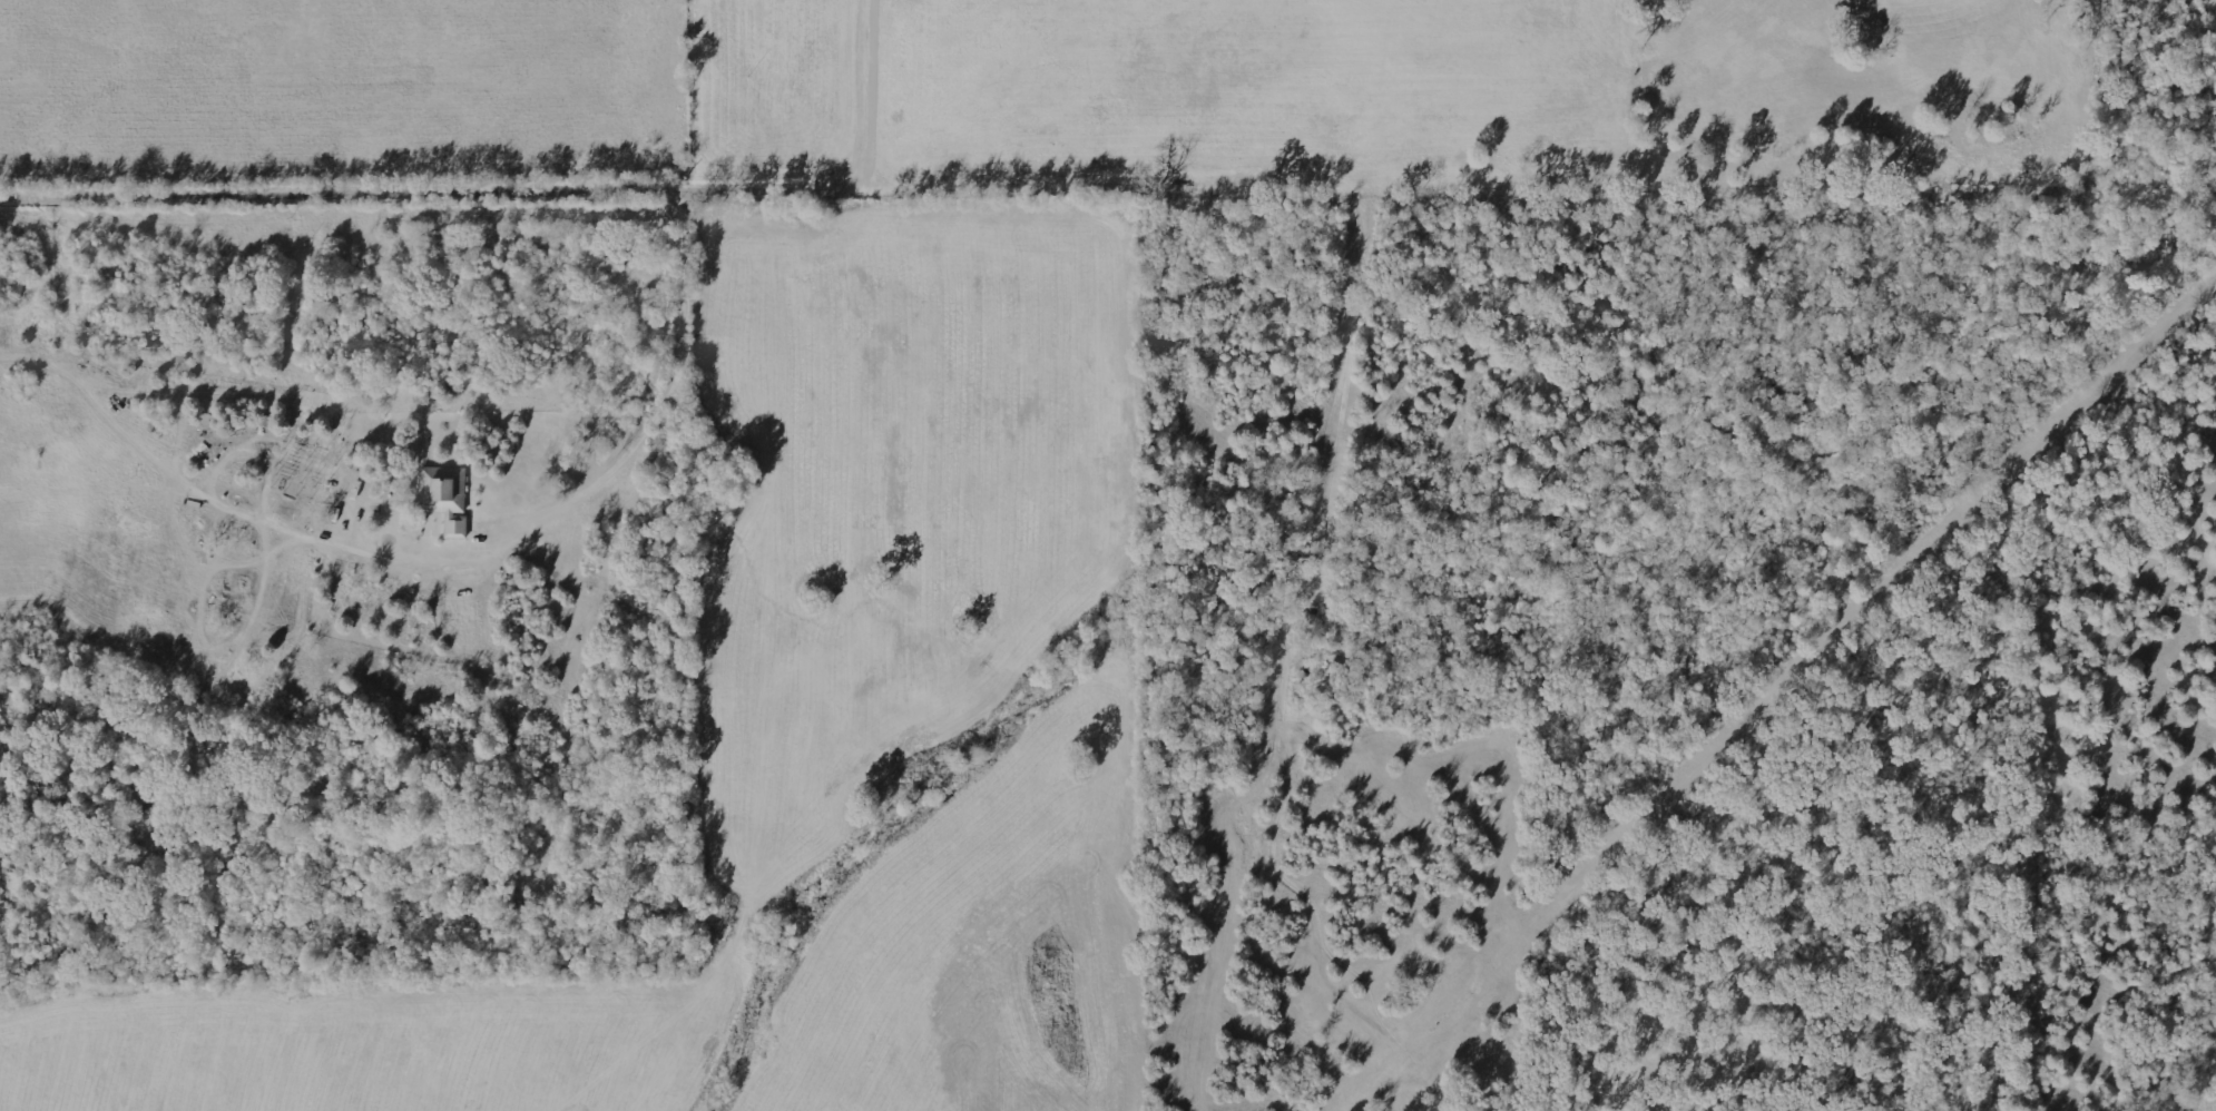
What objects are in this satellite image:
building: (448, 498)

